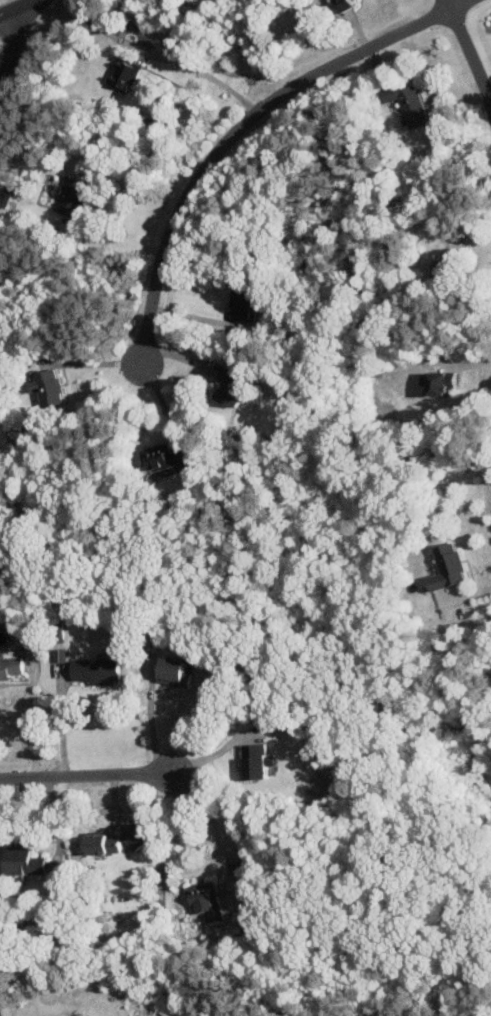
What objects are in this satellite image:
building: (339, 5)
road: (461, 5)
road: (13, 6)
road: (12, 44)
road: (468, 54)
building: (121, 74)
road: (205, 75)
building: (406, 103)
road: (234, 135)
building: (70, 196)
road: (117, 237)
building: (443, 269)
building: (241, 306)
road: (93, 362)
building: (437, 382)
building: (45, 387)
building: (230, 387)
building: (163, 460)
building: (446, 567)
road: (469, 593)
building: (58, 655)
building: (9, 667)
building: (94, 670)
building: (173, 672)
road: (149, 715)
road: (59, 725)
road: (32, 729)
road: (216, 751)
building: (254, 761)
road: (85, 775)
road: (207, 814)
road: (56, 819)
building: (131, 837)
building: (100, 844)
building: (21, 862)
building: (203, 899)

